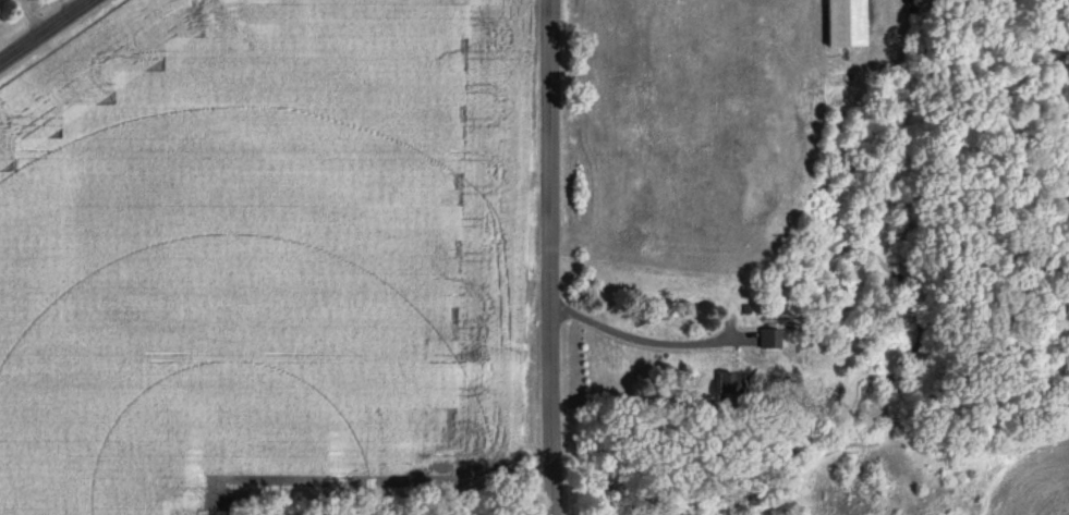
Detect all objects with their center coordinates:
road: (56, 12)
building: (843, 23)
road: (48, 32)
road: (555, 257)
road: (647, 340)
building: (766, 340)
building: (726, 383)

